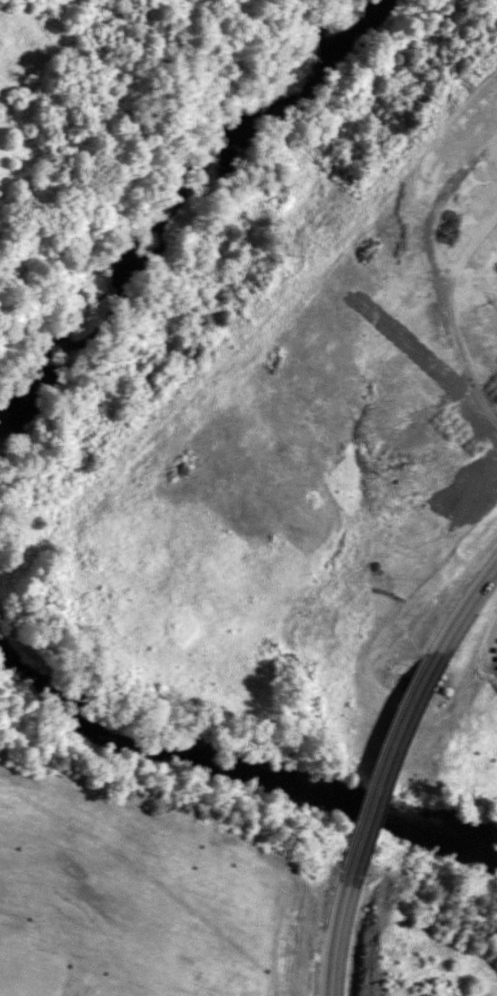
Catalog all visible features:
road: (464, 606)
road: (384, 759)
road: (340, 934)

